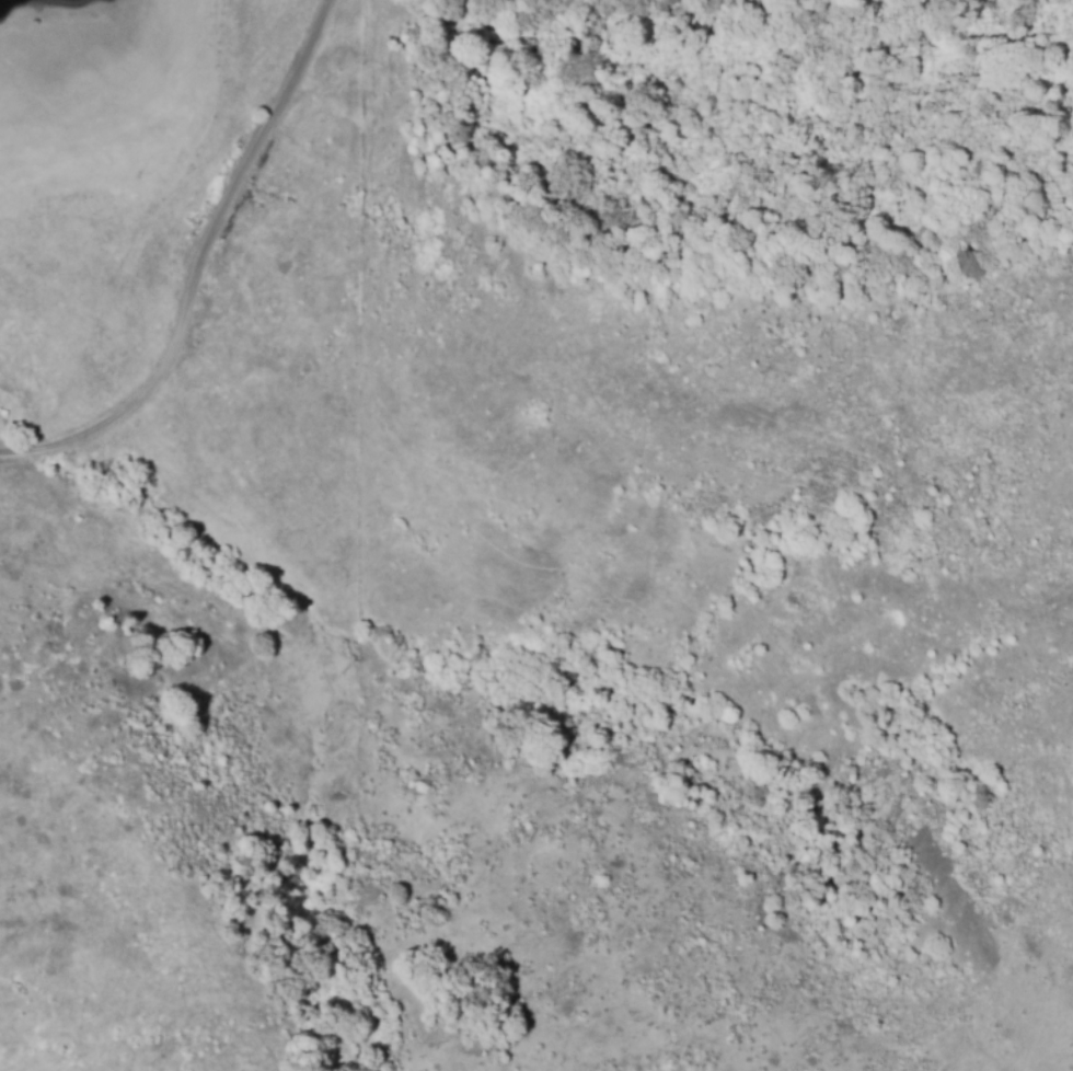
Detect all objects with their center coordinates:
road: (197, 272)

